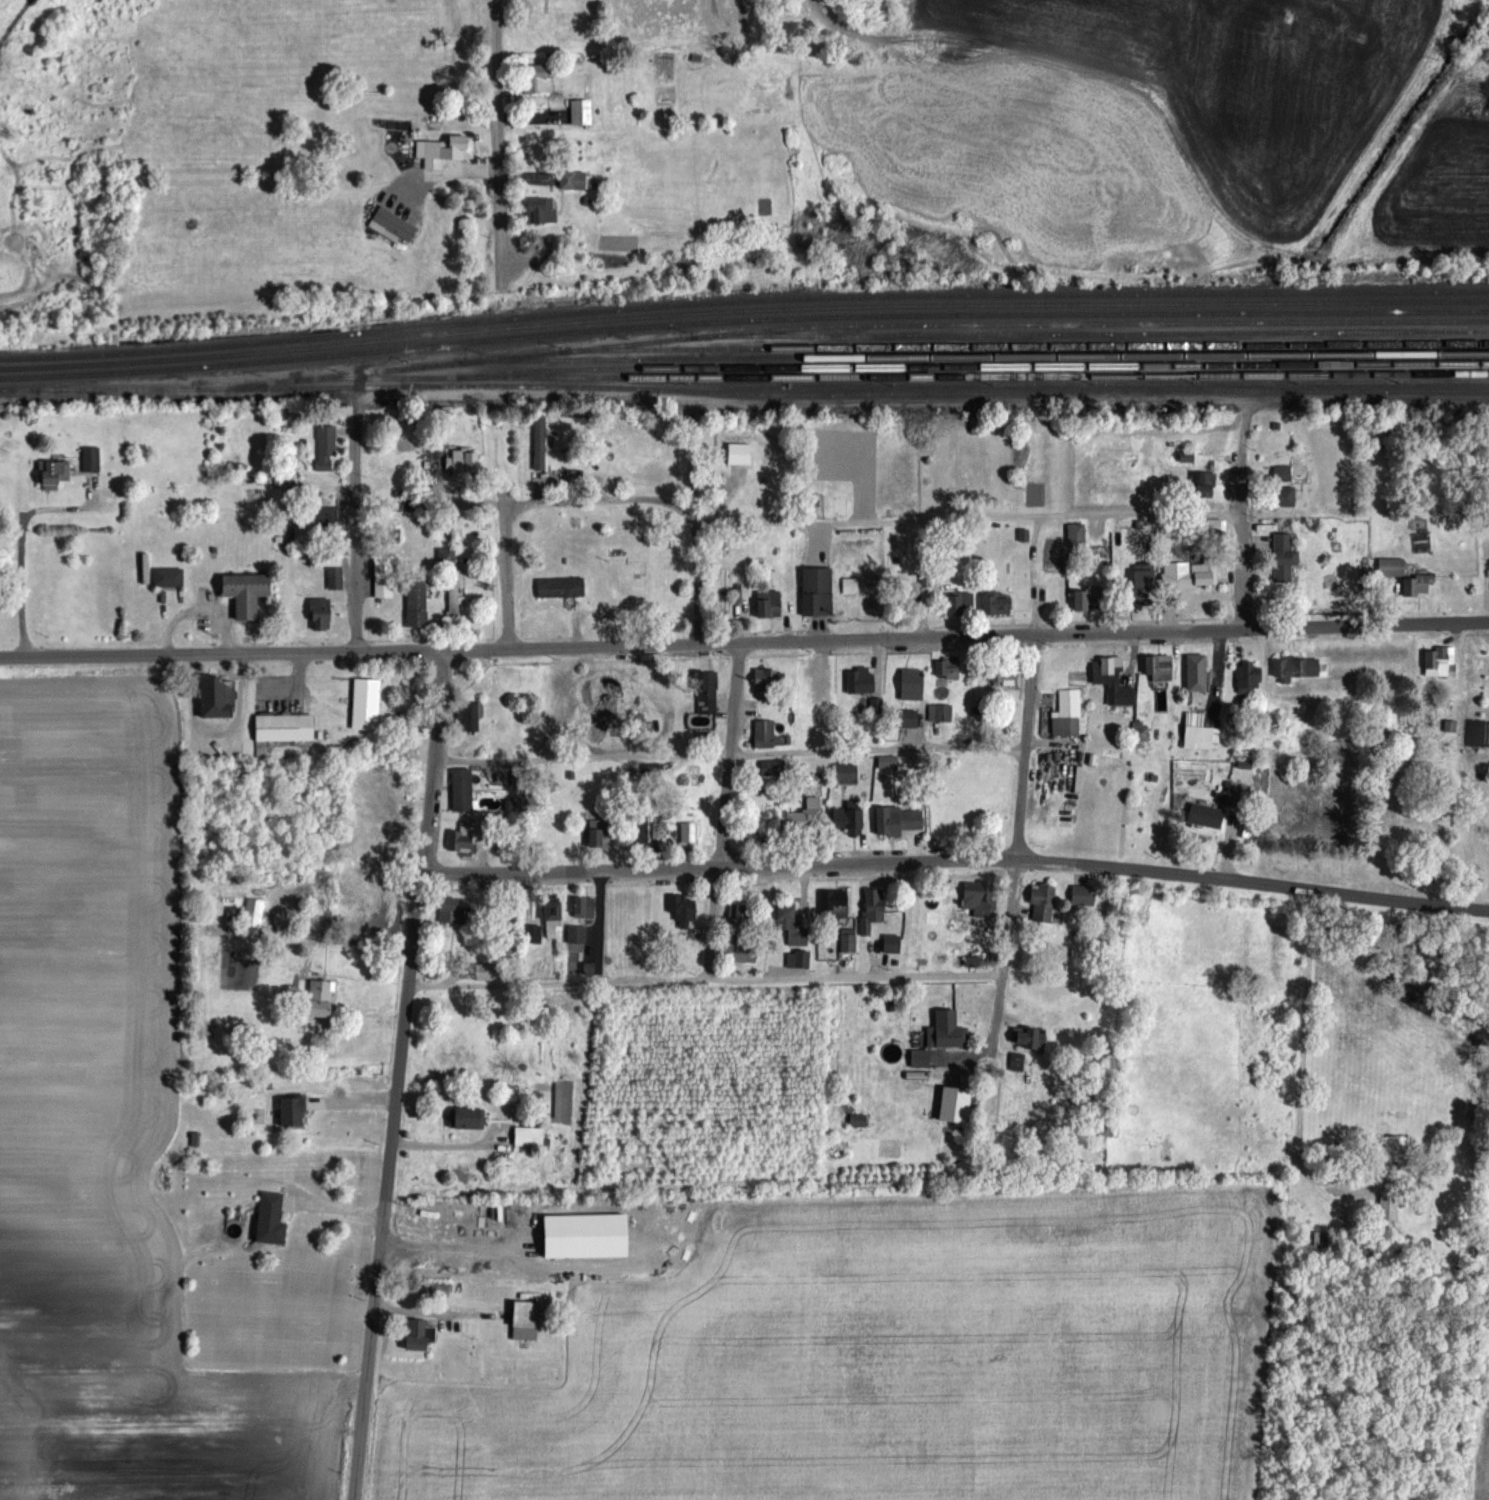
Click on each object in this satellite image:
building: (533, 80)
building: (580, 112)
road: (501, 138)
building: (444, 151)
building: (574, 181)
building: (540, 211)
building: (394, 225)
railway: (743, 301)
railway: (743, 313)
railway: (743, 322)
railway: (843, 327)
railway: (1090, 335)
railway: (1024, 348)
railway: (978, 358)
railway: (974, 368)
railway: (894, 377)
railway: (744, 394)
road: (912, 402)
building: (325, 449)
building: (90, 460)
building: (447, 461)
building: (1285, 470)
building: (54, 474)
building: (1204, 484)
building: (1282, 496)
road: (605, 500)
road: (968, 518)
building: (329, 519)
building: (1213, 530)
road: (356, 533)
building: (1076, 537)
building: (1283, 551)
road: (1242, 554)
building: (446, 557)
building: (330, 568)
road: (505, 570)
road: (1033, 573)
building: (1189, 575)
building: (383, 577)
building: (1404, 577)
building: (168, 578)
road: (697, 585)
building: (1143, 586)
building: (560, 588)
building: (724, 591)
building: (816, 591)
building: (245, 594)
building: (1087, 599)
building: (416, 600)
building: (453, 600)
building: (960, 603)
building: (996, 603)
building: (768, 604)
building: (319, 614)
road: (744, 641)
building: (1439, 661)
building: (946, 667)
building: (1158, 668)
building: (1295, 668)
building: (1003, 673)
building: (1195, 673)
building: (1107, 674)
building: (1247, 678)
building: (860, 680)
building: (769, 681)
building: (911, 684)
building: (607, 692)
building: (214, 697)
building: (706, 697)
building: (365, 704)
building: (939, 712)
building: (1067, 714)
building: (470, 717)
building: (908, 718)
building: (283, 728)
building: (1140, 731)
building: (766, 735)
building: (1201, 738)
road: (1024, 746)
road: (728, 755)
road: (729, 755)
road: (432, 761)
building: (773, 768)
building: (845, 773)
building: (462, 791)
building: (1235, 798)
building: (807, 805)
building: (848, 816)
building: (1205, 816)
building: (899, 821)
building: (658, 830)
building: (638, 833)
building: (600, 834)
building: (467, 839)
road: (956, 861)
building: (322, 887)
building: (1082, 896)
building: (979, 898)
building: (1042, 903)
building: (833, 905)
building: (583, 907)
building: (872, 908)
building: (452, 910)
building: (682, 910)
building: (252, 914)
building: (552, 917)
building: (740, 918)
building: (792, 922)
road: (713, 923)
building: (531, 934)
building: (575, 935)
building: (847, 941)
building: (891, 944)
road: (1001, 958)
building: (797, 959)
building: (485, 971)
road: (705, 979)
building: (320, 1000)
building: (944, 1037)
building: (1030, 1039)
road: (403, 1044)
building: (1016, 1062)
road: (1301, 1064)
building: (468, 1119)
building: (527, 1136)
building: (1397, 1149)
building: (1388, 1204)
building: (270, 1219)
building: (438, 1290)
building: (527, 1313)
building: (416, 1334)
road: (371, 1358)

